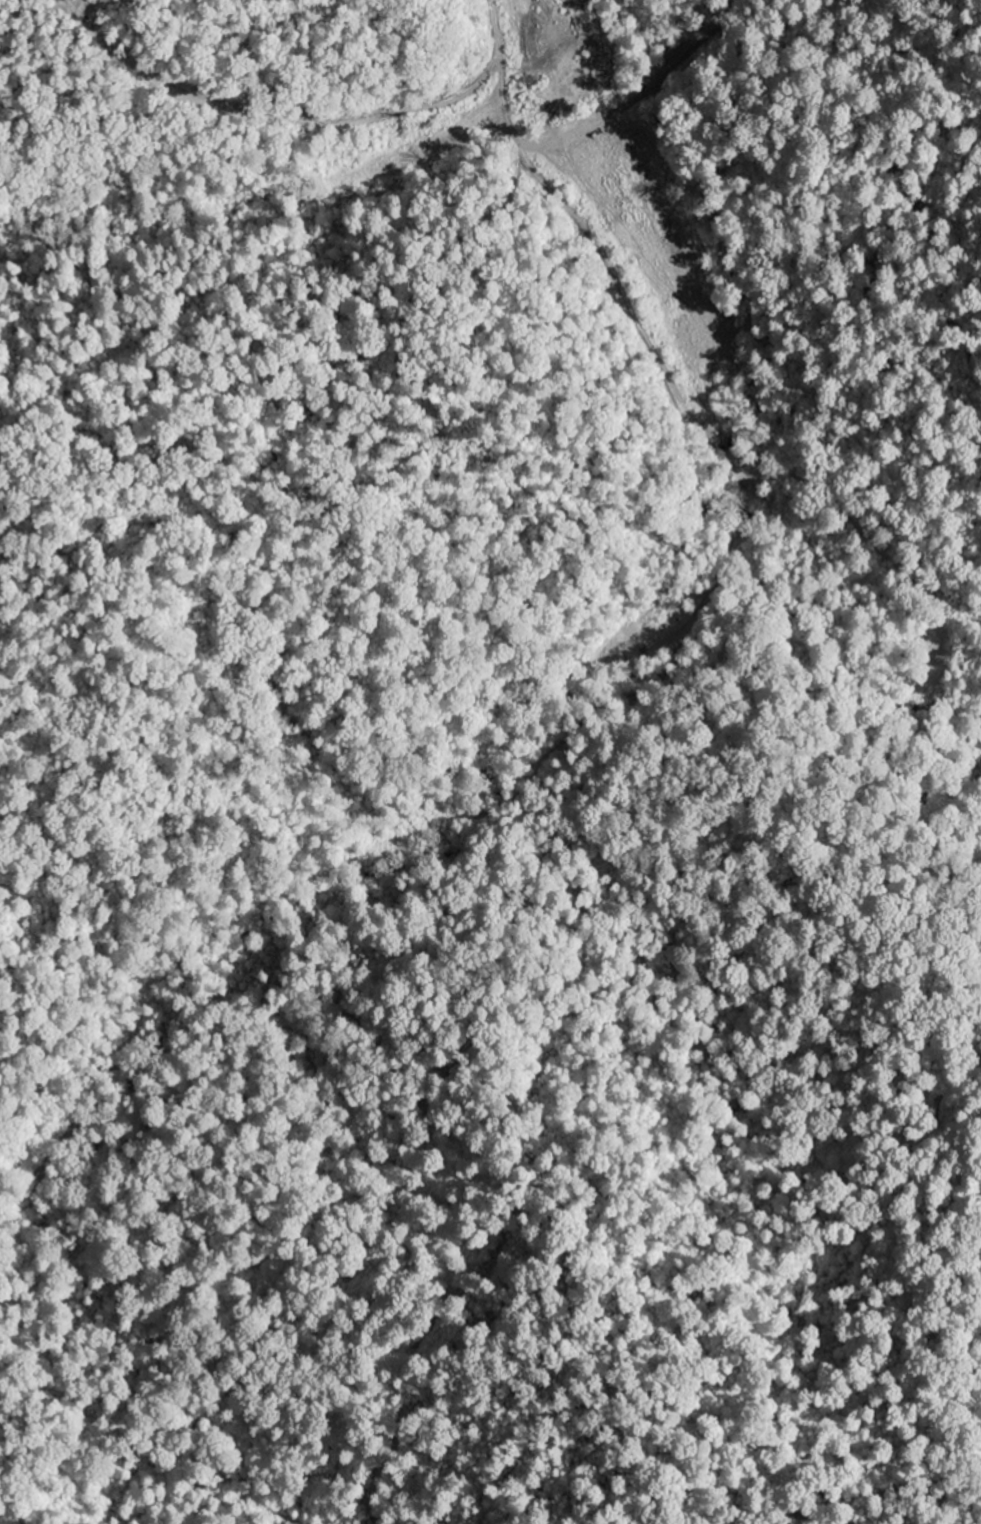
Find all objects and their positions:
road: (664, 10)

